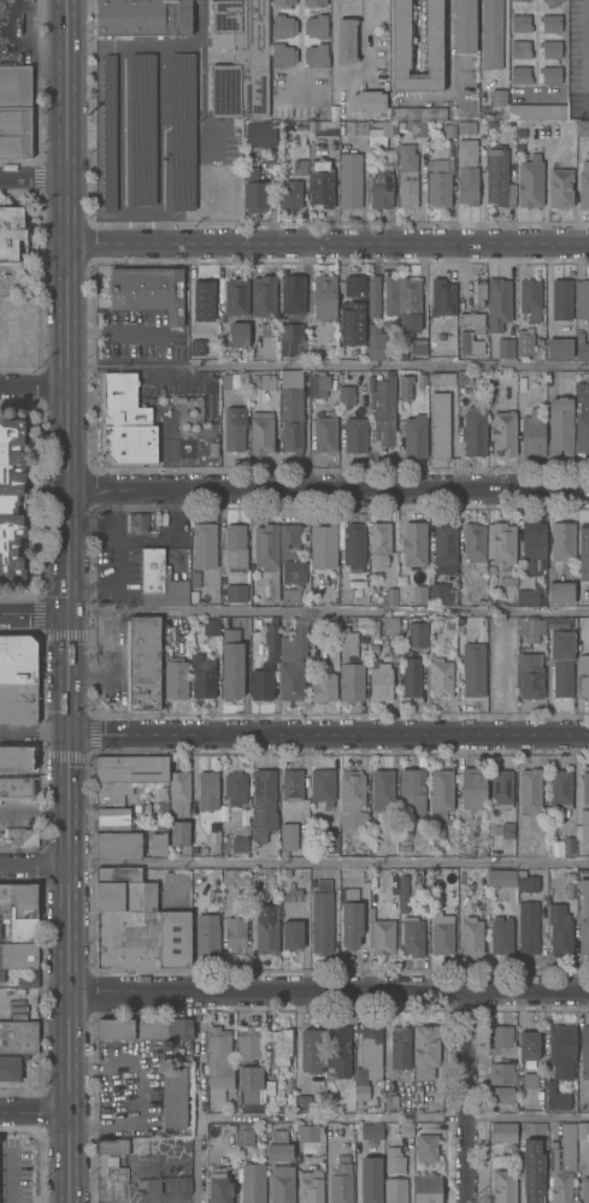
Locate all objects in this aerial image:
building: (518, 1)
building: (313, 2)
building: (550, 2)
building: (282, 4)
building: (142, 17)
building: (520, 22)
building: (550, 22)
building: (464, 25)
building: (282, 26)
building: (316, 26)
building: (400, 34)
building: (490, 34)
road: (195, 40)
building: (346, 40)
road: (505, 46)
road: (141, 47)
building: (520, 48)
building: (550, 48)
building: (281, 55)
building: (316, 55)
building: (241, 58)
road: (332, 69)
road: (448, 70)
road: (563, 71)
building: (520, 73)
building: (550, 73)
building: (497, 98)
building: (367, 99)
building: (16, 110)
building: (296, 110)
building: (316, 110)
building: (537, 110)
building: (304, 111)
building: (394, 112)
building: (423, 112)
building: (491, 123)
building: (346, 125)
building: (466, 125)
building: (323, 126)
building: (360, 126)
building: (450, 128)
building: (582, 128)
building: (384, 129)
building: (402, 130)
building: (418, 130)
building: (260, 132)
building: (466, 152)
building: (271, 154)
building: (299, 169)
building: (408, 173)
building: (496, 175)
building: (583, 178)
road: (31, 179)
building: (351, 179)
building: (381, 181)
building: (320, 182)
building: (530, 182)
building: (467, 184)
building: (438, 185)
building: (561, 187)
building: (254, 189)
building: (290, 196)
building: (11, 231)
road: (326, 242)
building: (220, 276)
road: (547, 283)
building: (146, 289)
building: (293, 293)
building: (479, 293)
building: (389, 294)
building: (264, 295)
building: (324, 295)
building: (373, 295)
building: (236, 296)
building: (442, 296)
building: (582, 297)
building: (531, 299)
building: (563, 299)
building: (202, 300)
building: (408, 302)
building: (499, 302)
road: (65, 305)
building: (588, 323)
building: (352, 324)
building: (267, 328)
road: (137, 330)
building: (471, 331)
building: (238, 332)
building: (293, 338)
building: (382, 340)
building: (524, 342)
building: (418, 344)
building: (582, 346)
building: (506, 347)
building: (559, 347)
building: (194, 349)
building: (402, 349)
road: (390, 366)
building: (567, 373)
building: (241, 375)
building: (464, 376)
building: (255, 377)
building: (442, 378)
building: (267, 381)
building: (223, 382)
building: (422, 382)
building: (319, 383)
building: (405, 384)
road: (31, 388)
building: (207, 395)
building: (346, 395)
building: (384, 408)
building: (291, 409)
building: (164, 411)
building: (582, 415)
building: (126, 420)
building: (440, 424)
building: (561, 425)
building: (232, 429)
building: (473, 430)
building: (260, 431)
building: (325, 431)
building: (532, 431)
building: (355, 434)
building: (503, 434)
building: (414, 435)
road: (326, 489)
building: (11, 495)
road: (88, 518)
building: (135, 523)
building: (153, 523)
road: (166, 537)
building: (289, 539)
building: (563, 539)
building: (501, 541)
building: (475, 542)
building: (204, 543)
building: (379, 543)
building: (323, 544)
building: (414, 544)
building: (235, 546)
building: (354, 546)
building: (534, 546)
building: (446, 548)
building: (267, 552)
building: (583, 552)
road: (112, 559)
building: (490, 568)
building: (242, 573)
building: (160, 579)
building: (194, 579)
building: (402, 579)
building: (359, 580)
building: (293, 582)
building: (561, 590)
building: (236, 592)
building: (419, 592)
building: (441, 592)
building: (389, 595)
building: (528, 595)
building: (360, 596)
building: (481, 601)
road: (33, 612)
traffic signals: (66, 612)
road: (328, 612)
building: (341, 619)
building: (461, 621)
building: (588, 621)
building: (390, 624)
building: (449, 624)
building: (211, 625)
building: (530, 627)
building: (417, 633)
building: (299, 638)
building: (348, 645)
building: (373, 647)
building: (161, 654)
building: (17, 659)
building: (473, 659)
building: (561, 661)
building: (142, 662)
building: (266, 664)
road: (65, 674)
building: (530, 674)
building: (583, 674)
building: (202, 676)
building: (176, 677)
building: (412, 677)
building: (442, 677)
building: (381, 679)
building: (231, 680)
building: (290, 680)
building: (352, 680)
building: (323, 683)
building: (18, 702)
building: (477, 704)
road: (33, 733)
road: (326, 735)
traffic signals: (65, 737)
building: (24, 750)
building: (14, 757)
building: (131, 767)
road: (65, 772)
building: (291, 784)
building: (323, 785)
building: (585, 785)
building: (475, 786)
building: (501, 786)
building: (16, 788)
building: (208, 789)
building: (382, 789)
building: (530, 789)
building: (561, 789)
building: (178, 791)
building: (441, 791)
building: (235, 792)
building: (412, 792)
building: (352, 798)
building: (264, 802)
building: (112, 806)
road: (33, 812)
building: (519, 822)
building: (584, 822)
building: (405, 828)
building: (179, 832)
building: (507, 832)
building: (19, 836)
building: (289, 836)
building: (213, 839)
building: (158, 842)
building: (120, 843)
building: (331, 843)
building: (240, 844)
building: (569, 845)
building: (202, 850)
building: (555, 850)
building: (284, 851)
road: (325, 865)
road: (31, 868)
building: (285, 872)
building: (118, 873)
building: (229, 875)
building: (501, 877)
building: (570, 878)
building: (312, 881)
building: (526, 881)
building: (324, 884)
building: (291, 892)
building: (402, 892)
building: (351, 894)
building: (125, 896)
building: (223, 896)
building: (372, 897)
building: (18, 901)
building: (587, 916)
building: (322, 921)
building: (351, 922)
building: (529, 926)
building: (23, 928)
building: (560, 928)
building: (0, 930)
building: (235, 932)
building: (442, 932)
building: (207, 933)
building: (293, 933)
building: (381, 933)
building: (471, 934)
building: (501, 934)
building: (266, 936)
building: (412, 936)
building: (128, 939)
building: (176, 939)
building: (18, 955)
building: (1, 975)
building: (22, 980)
road: (326, 995)
road: (65, 1004)
road: (14, 1009)
building: (145, 1027)
building: (18, 1037)
building: (502, 1038)
building: (528, 1044)
building: (249, 1045)
building: (281, 1046)
building: (399, 1046)
building: (370, 1048)
building: (338, 1049)
building: (563, 1049)
building: (310, 1050)
building: (425, 1050)
building: (584, 1050)
building: (218, 1062)
building: (10, 1067)
building: (501, 1072)
building: (519, 1078)
building: (530, 1079)
building: (249, 1081)
building: (269, 1086)
building: (360, 1087)
building: (503, 1093)
building: (173, 1096)
building: (555, 1097)
road: (198, 1098)
road: (460, 1098)
building: (301, 1103)
building: (390, 1103)
road: (33, 1115)
road: (394, 1120)
building: (406, 1127)
building: (422, 1128)
building: (583, 1130)
building: (503, 1131)
building: (371, 1132)
building: (245, 1133)
building: (278, 1133)
building: (312, 1134)
building: (112, 1145)
building: (425, 1149)
building: (278, 1151)
building: (394, 1158)
building: (561, 1163)
building: (116, 1168)
building: (531, 1170)
building: (18, 1179)
building: (341, 1180)
building: (370, 1180)
building: (253, 1183)
building: (149, 1184)
building: (282, 1184)
building: (219, 1185)
building: (312, 1185)
building: (505, 1186)
building: (426, 1187)
building: (585, 1189)
building: (395, 1190)

